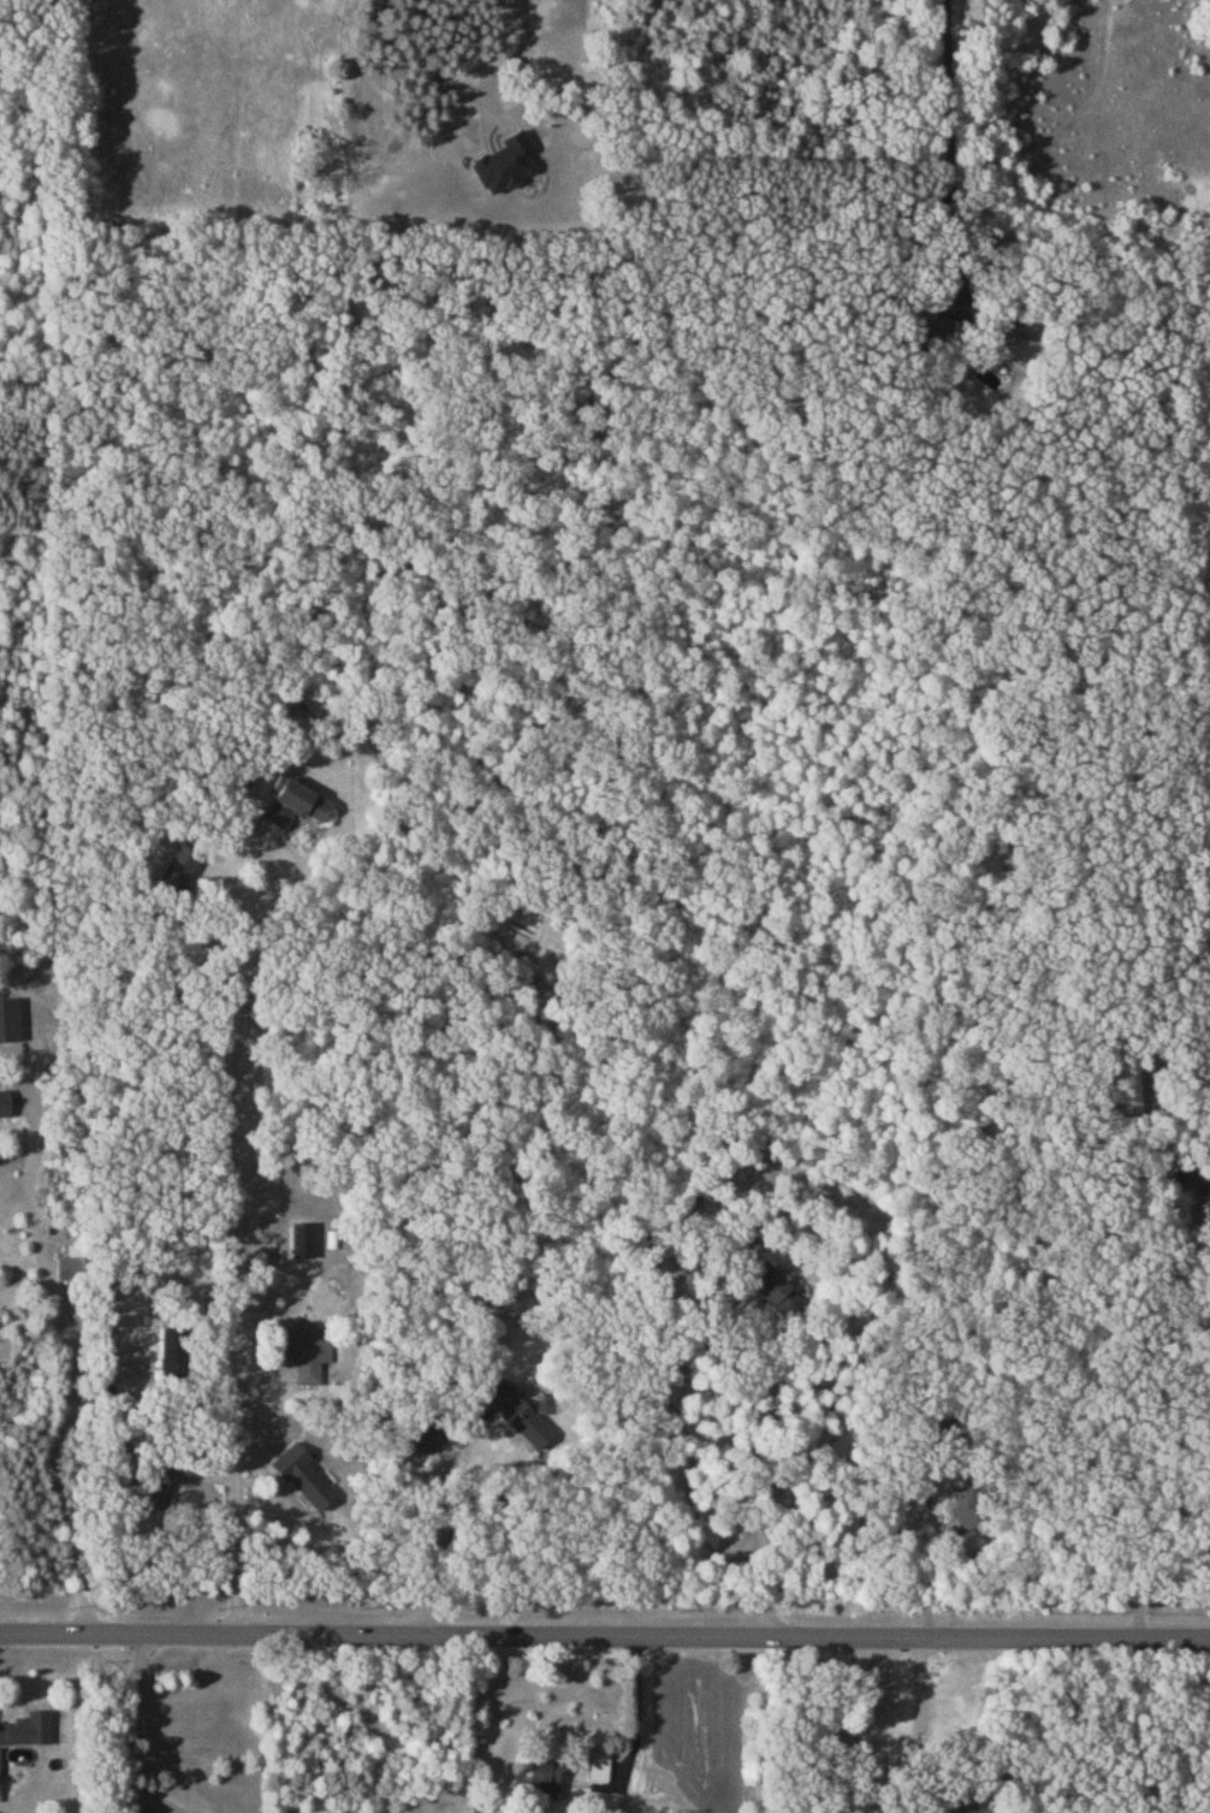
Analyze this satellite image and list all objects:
road: (429, 58)
road: (948, 150)
building: (504, 162)
building: (296, 805)
building: (177, 869)
building: (1127, 1090)
building: (4, 1102)
road: (230, 1159)
building: (302, 1238)
building: (71, 1260)
building: (773, 1288)
building: (308, 1351)
road: (1170, 1355)
road: (72, 1363)
building: (518, 1412)
building: (426, 1438)
road: (779, 1464)
building: (303, 1474)
building: (160, 1480)
road: (439, 1528)
road: (605, 1637)
road: (923, 1702)
road: (137, 1719)
road: (834, 1725)
road: (637, 1726)
building: (25, 1728)
building: (599, 1761)
building: (542, 1775)
building: (955, 1799)
road: (172, 1803)
road: (136, 1808)

